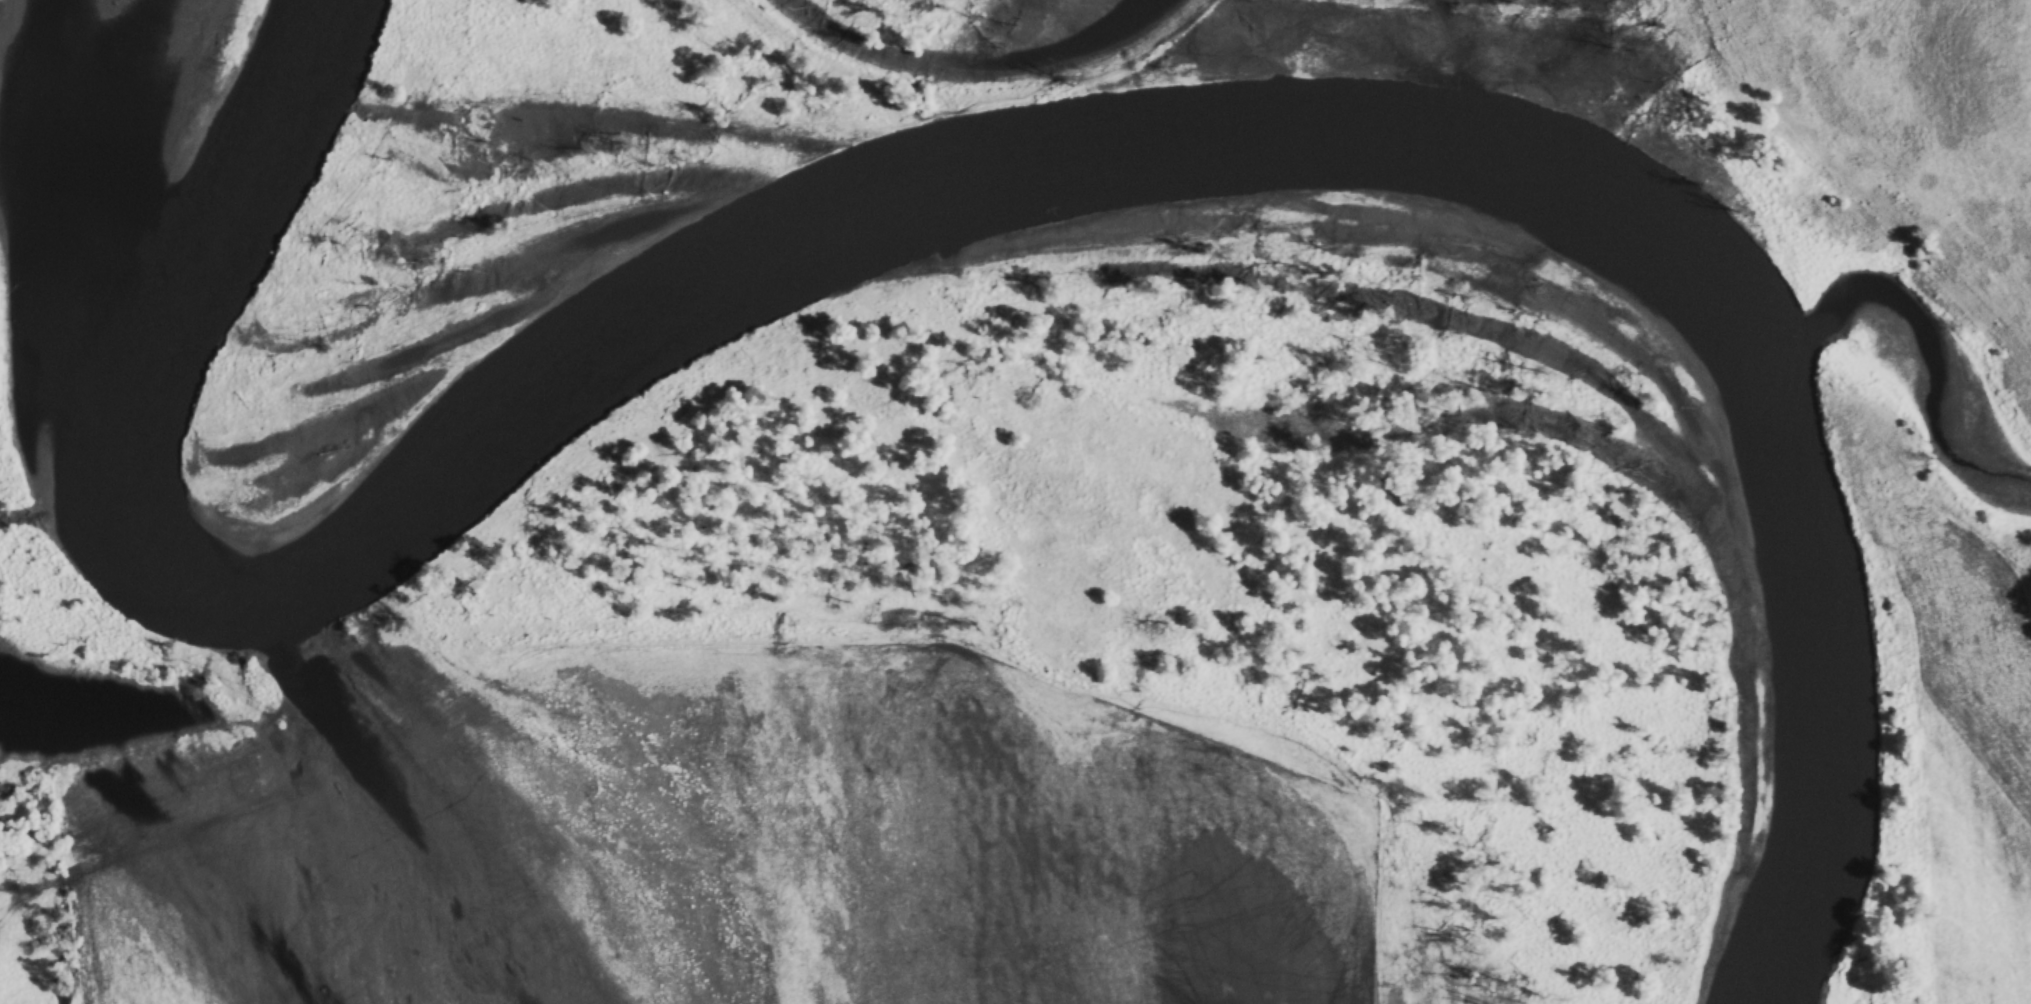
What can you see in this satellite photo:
river: (974, 210)

